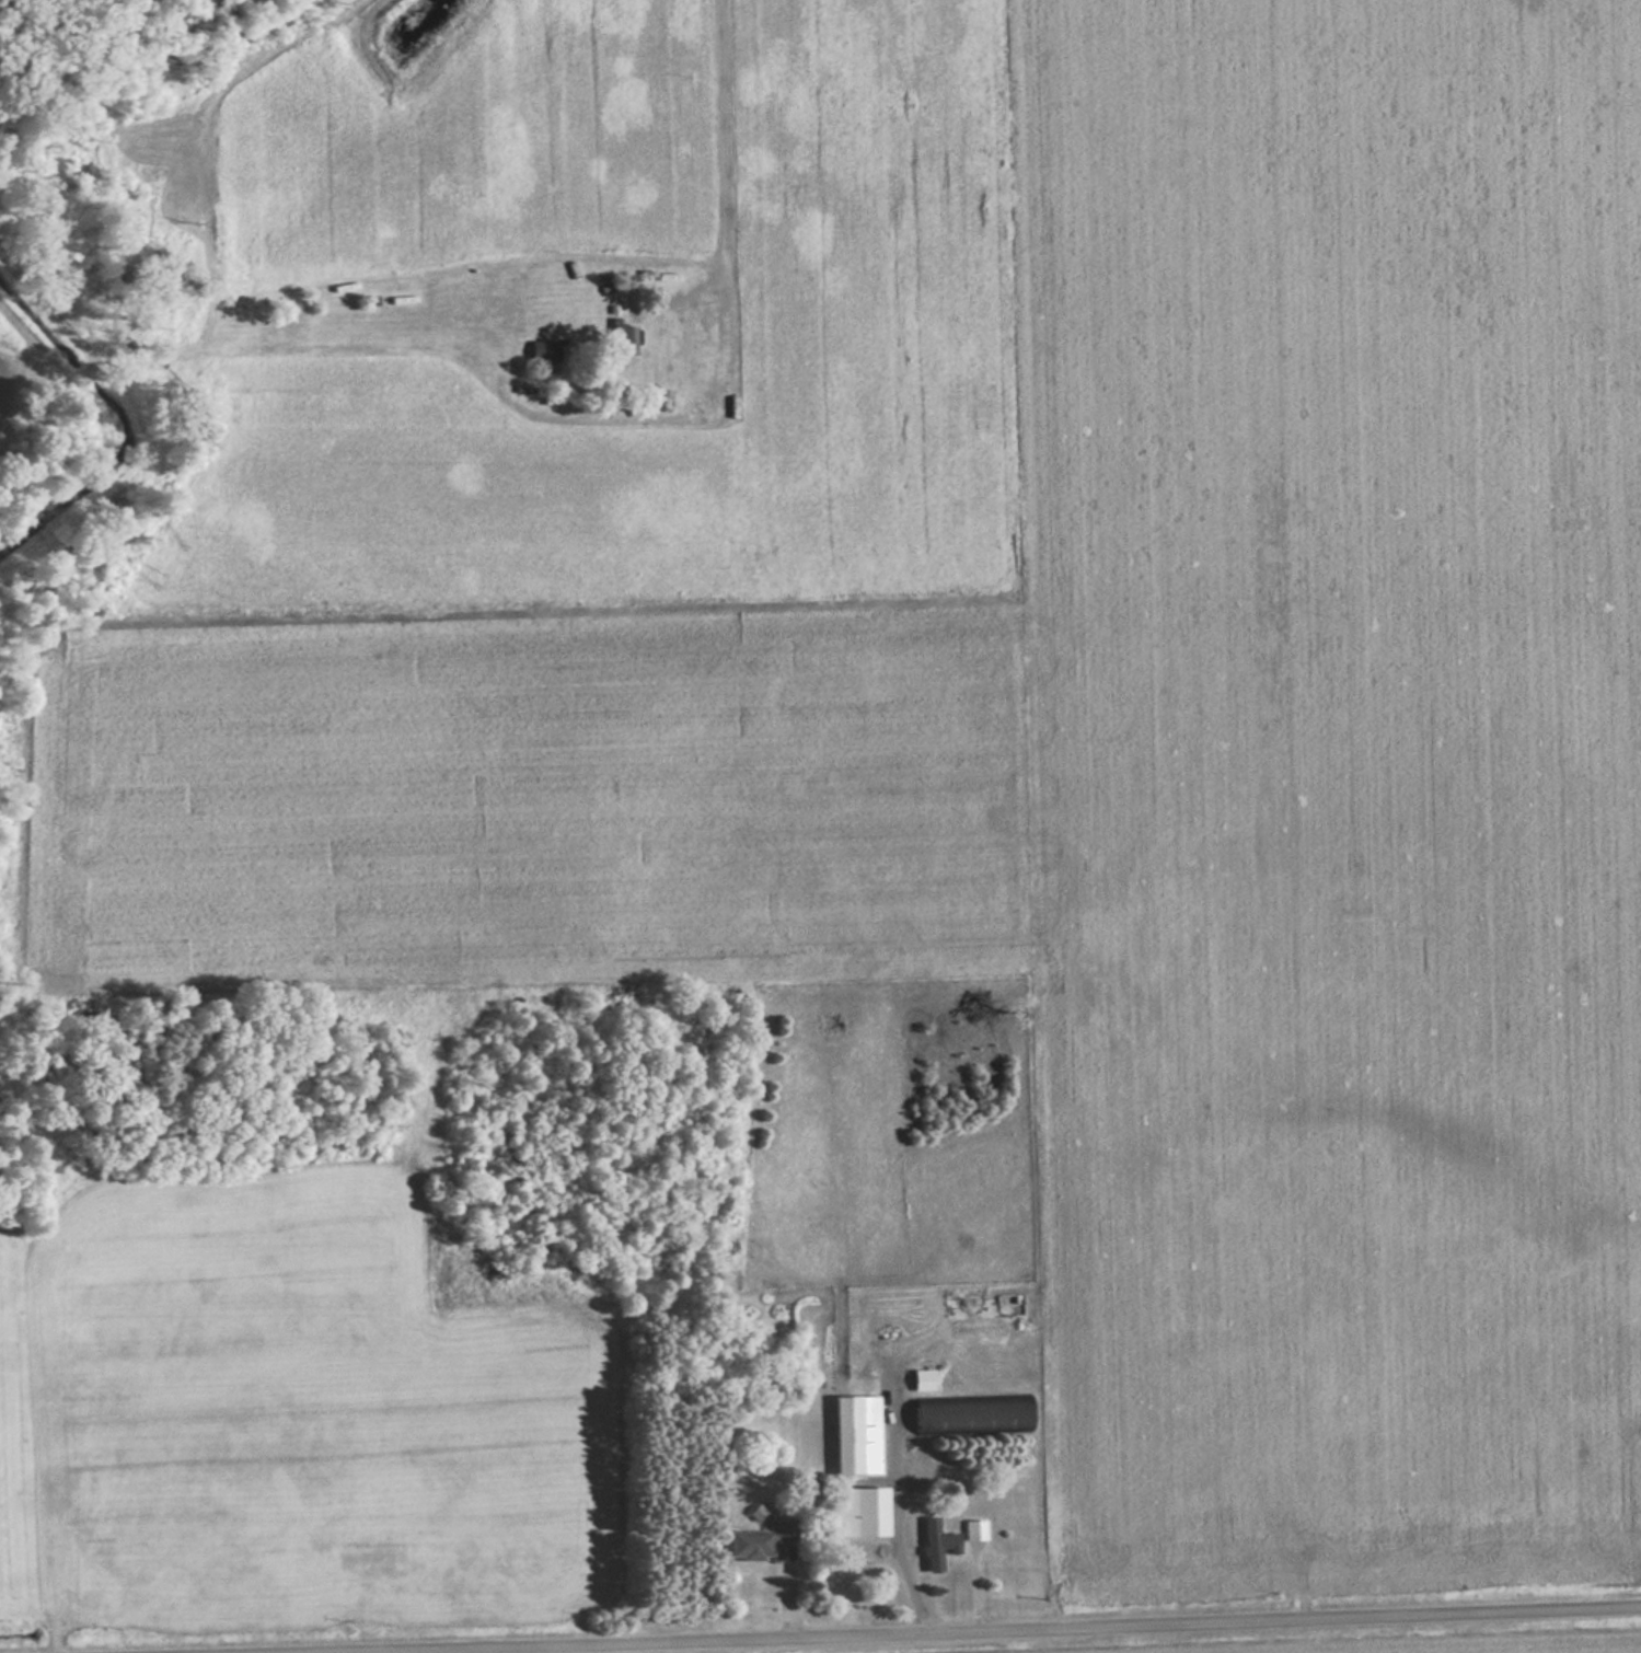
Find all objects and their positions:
road: (723, 155)
building: (624, 340)
building: (544, 352)
building: (983, 1307)
building: (973, 1341)
building: (924, 1382)
building: (973, 1418)
building: (857, 1436)
building: (859, 1513)
building: (976, 1531)
building: (761, 1540)
building: (937, 1546)
road: (951, 1631)

